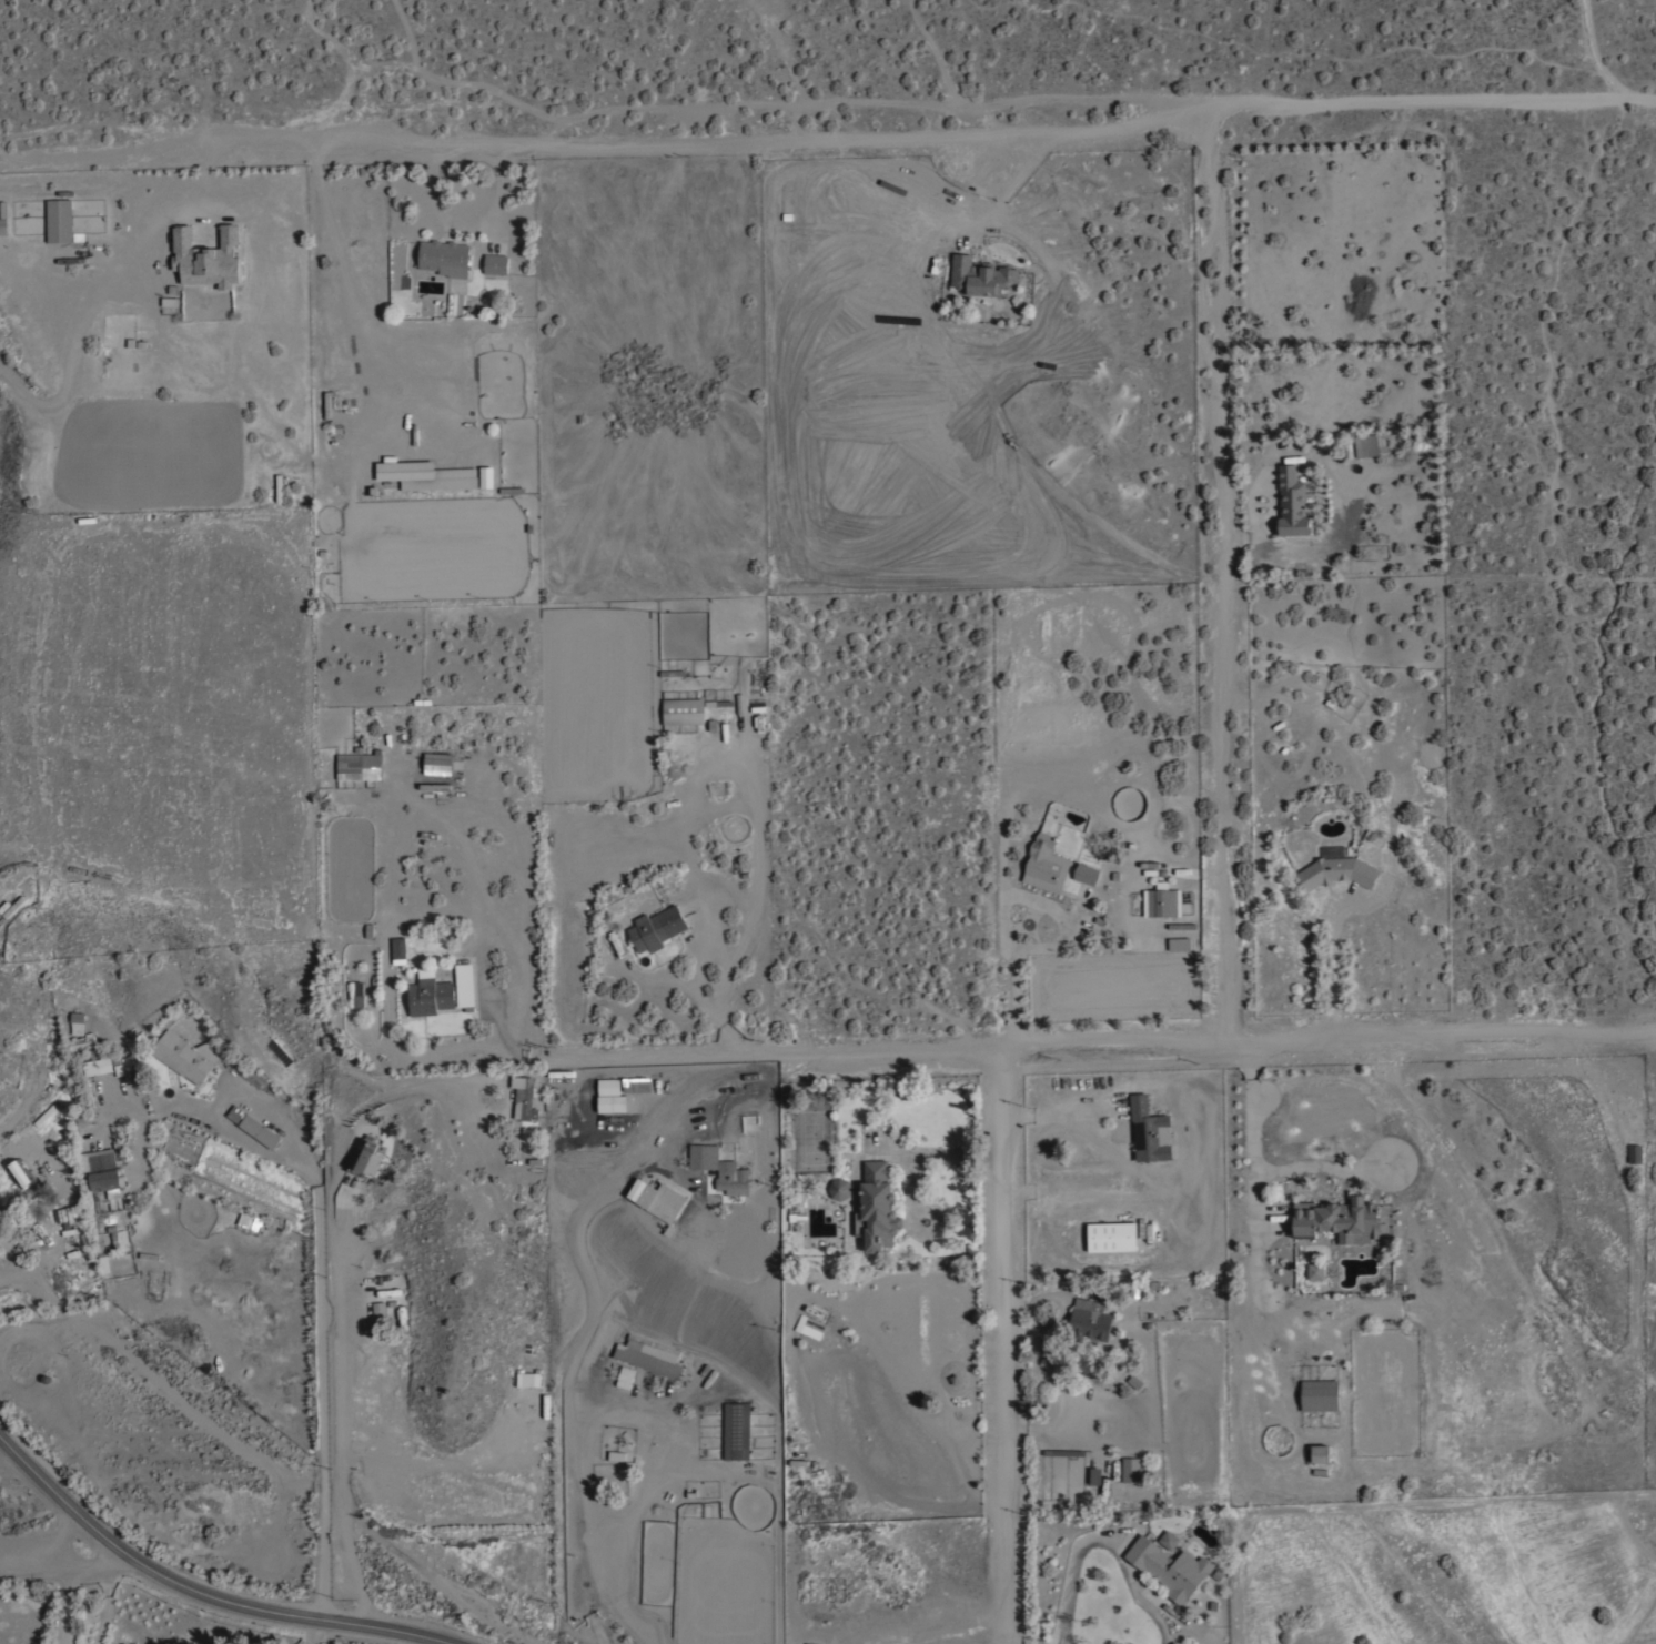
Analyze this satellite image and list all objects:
road: (982, 140)
road: (989, 213)
building: (57, 220)
road: (464, 225)
building: (445, 256)
building: (206, 258)
building: (495, 263)
building: (981, 275)
road: (72, 346)
building: (105, 355)
building: (125, 359)
building: (147, 360)
building: (327, 404)
building: (1365, 445)
building: (486, 476)
building: (438, 483)
building: (279, 487)
building: (1292, 502)
road: (1220, 577)
building: (683, 710)
building: (437, 764)
building: (360, 766)
building: (1046, 860)
building: (1337, 871)
building: (1086, 873)
road: (1004, 899)
building: (1162, 900)
building: (13, 906)
building: (656, 927)
building: (616, 942)
building: (1179, 944)
building: (398, 947)
road: (1336, 968)
building: (464, 985)
building: (354, 995)
building: (430, 996)
building: (77, 1022)
building: (82, 1041)
road: (1083, 1045)
building: (184, 1055)
building: (97, 1066)
building: (636, 1085)
building: (610, 1096)
building: (524, 1097)
building: (44, 1115)
building: (254, 1127)
building: (1150, 1130)
building: (69, 1152)
building: (1635, 1152)
building: (362, 1154)
building: (704, 1157)
building: (20, 1172)
building: (107, 1180)
building: (731, 1183)
building: (839, 1188)
building: (662, 1201)
building: (876, 1208)
building: (74, 1213)
building: (1337, 1220)
building: (249, 1221)
building: (75, 1230)
building: (42, 1232)
building: (1111, 1235)
building: (113, 1237)
building: (102, 1253)
building: (1315, 1271)
road: (320, 1291)
road: (334, 1305)
building: (376, 1309)
building: (1086, 1321)
building: (809, 1325)
road: (1003, 1345)
building: (648, 1355)
road: (577, 1364)
building: (524, 1379)
building: (1319, 1394)
building: (1040, 1398)
building: (736, 1430)
building: (1320, 1453)
building: (1094, 1475)
building: (1168, 1539)
building: (1169, 1567)
road: (70, 1572)
road: (200, 1592)
road: (73, 1608)
road: (321, 1633)

